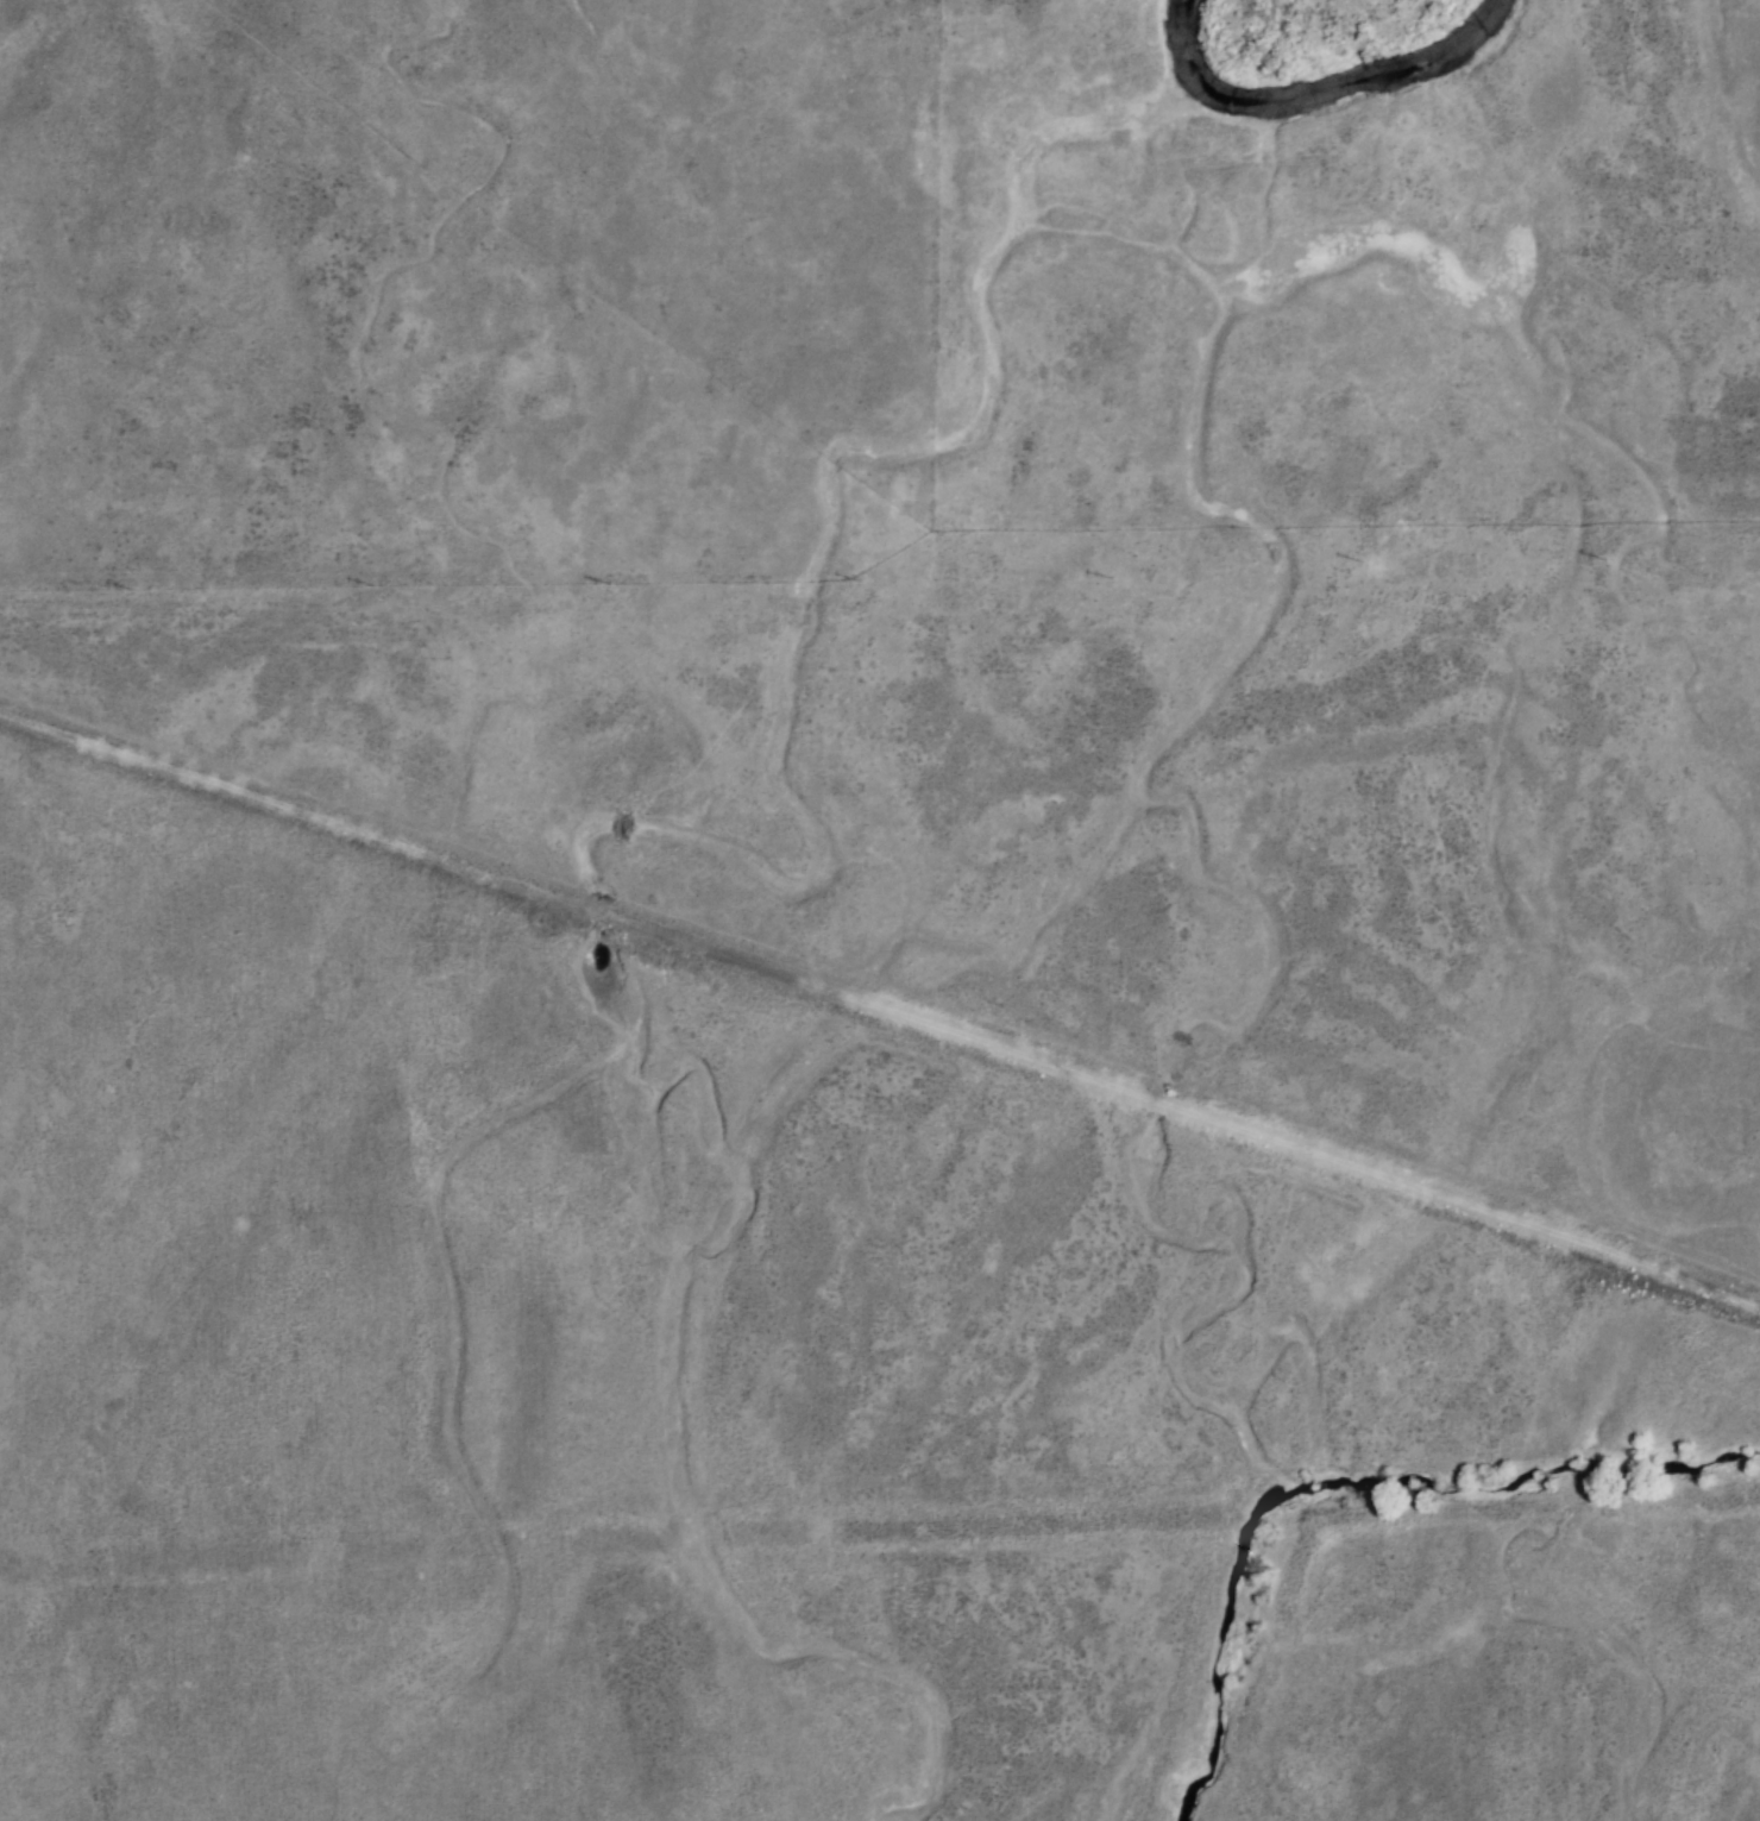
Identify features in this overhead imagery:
road: (881, 1001)

